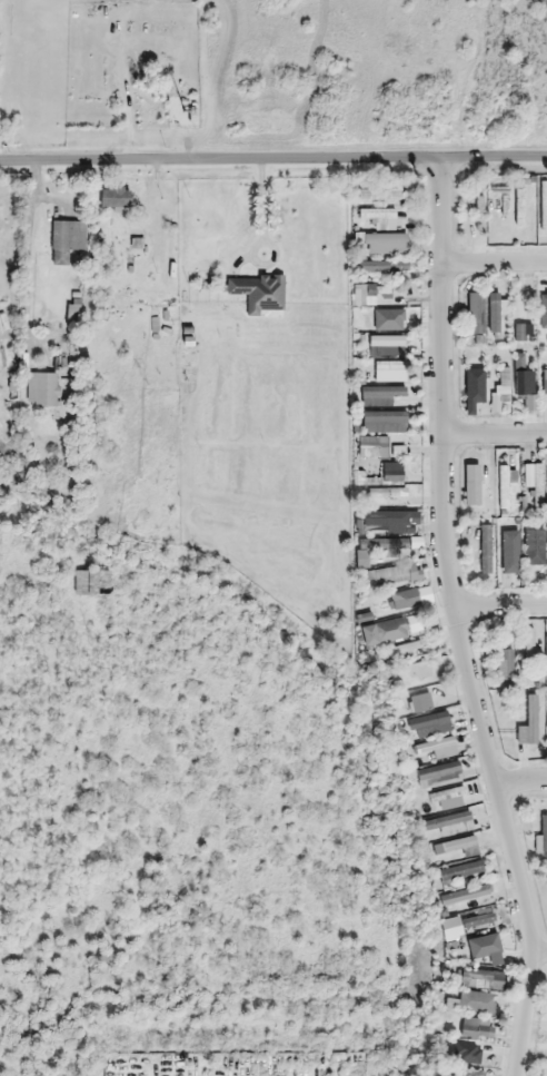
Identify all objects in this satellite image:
road: (273, 154)
building: (499, 180)
building: (523, 180)
building: (499, 190)
building: (380, 191)
building: (115, 199)
building: (544, 206)
building: (519, 207)
building: (479, 214)
building: (379, 218)
building: (66, 243)
building: (385, 244)
road: (495, 259)
building: (381, 266)
building: (258, 293)
building: (378, 294)
building: (475, 314)
building: (544, 315)
building: (494, 316)
building: (387, 318)
building: (523, 333)
building: (386, 346)
building: (60, 361)
building: (389, 372)
building: (545, 382)
building: (525, 383)
building: (503, 384)
building: (475, 386)
building: (42, 389)
building: (380, 395)
building: (384, 422)
road: (496, 433)
building: (378, 448)
building: (535, 480)
building: (470, 485)
building: (504, 487)
building: (388, 493)
building: (386, 519)
building: (384, 544)
building: (534, 547)
building: (485, 549)
building: (509, 554)
building: (396, 574)
building: (91, 584)
building: (405, 600)
road: (498, 608)
road: (452, 619)
building: (390, 630)
building: (546, 651)
building: (507, 664)
building: (420, 702)
building: (531, 719)
building: (430, 723)
building: (439, 749)
building: (439, 777)
road: (520, 780)
building: (446, 794)
building: (446, 821)
building: (541, 837)
building: (454, 846)
building: (460, 871)
building: (465, 895)
building: (477, 921)
building: (483, 945)
road: (539, 950)
building: (481, 979)
building: (473, 1003)
building: (476, 1028)
building: (463, 1053)
building: (469, 1074)

